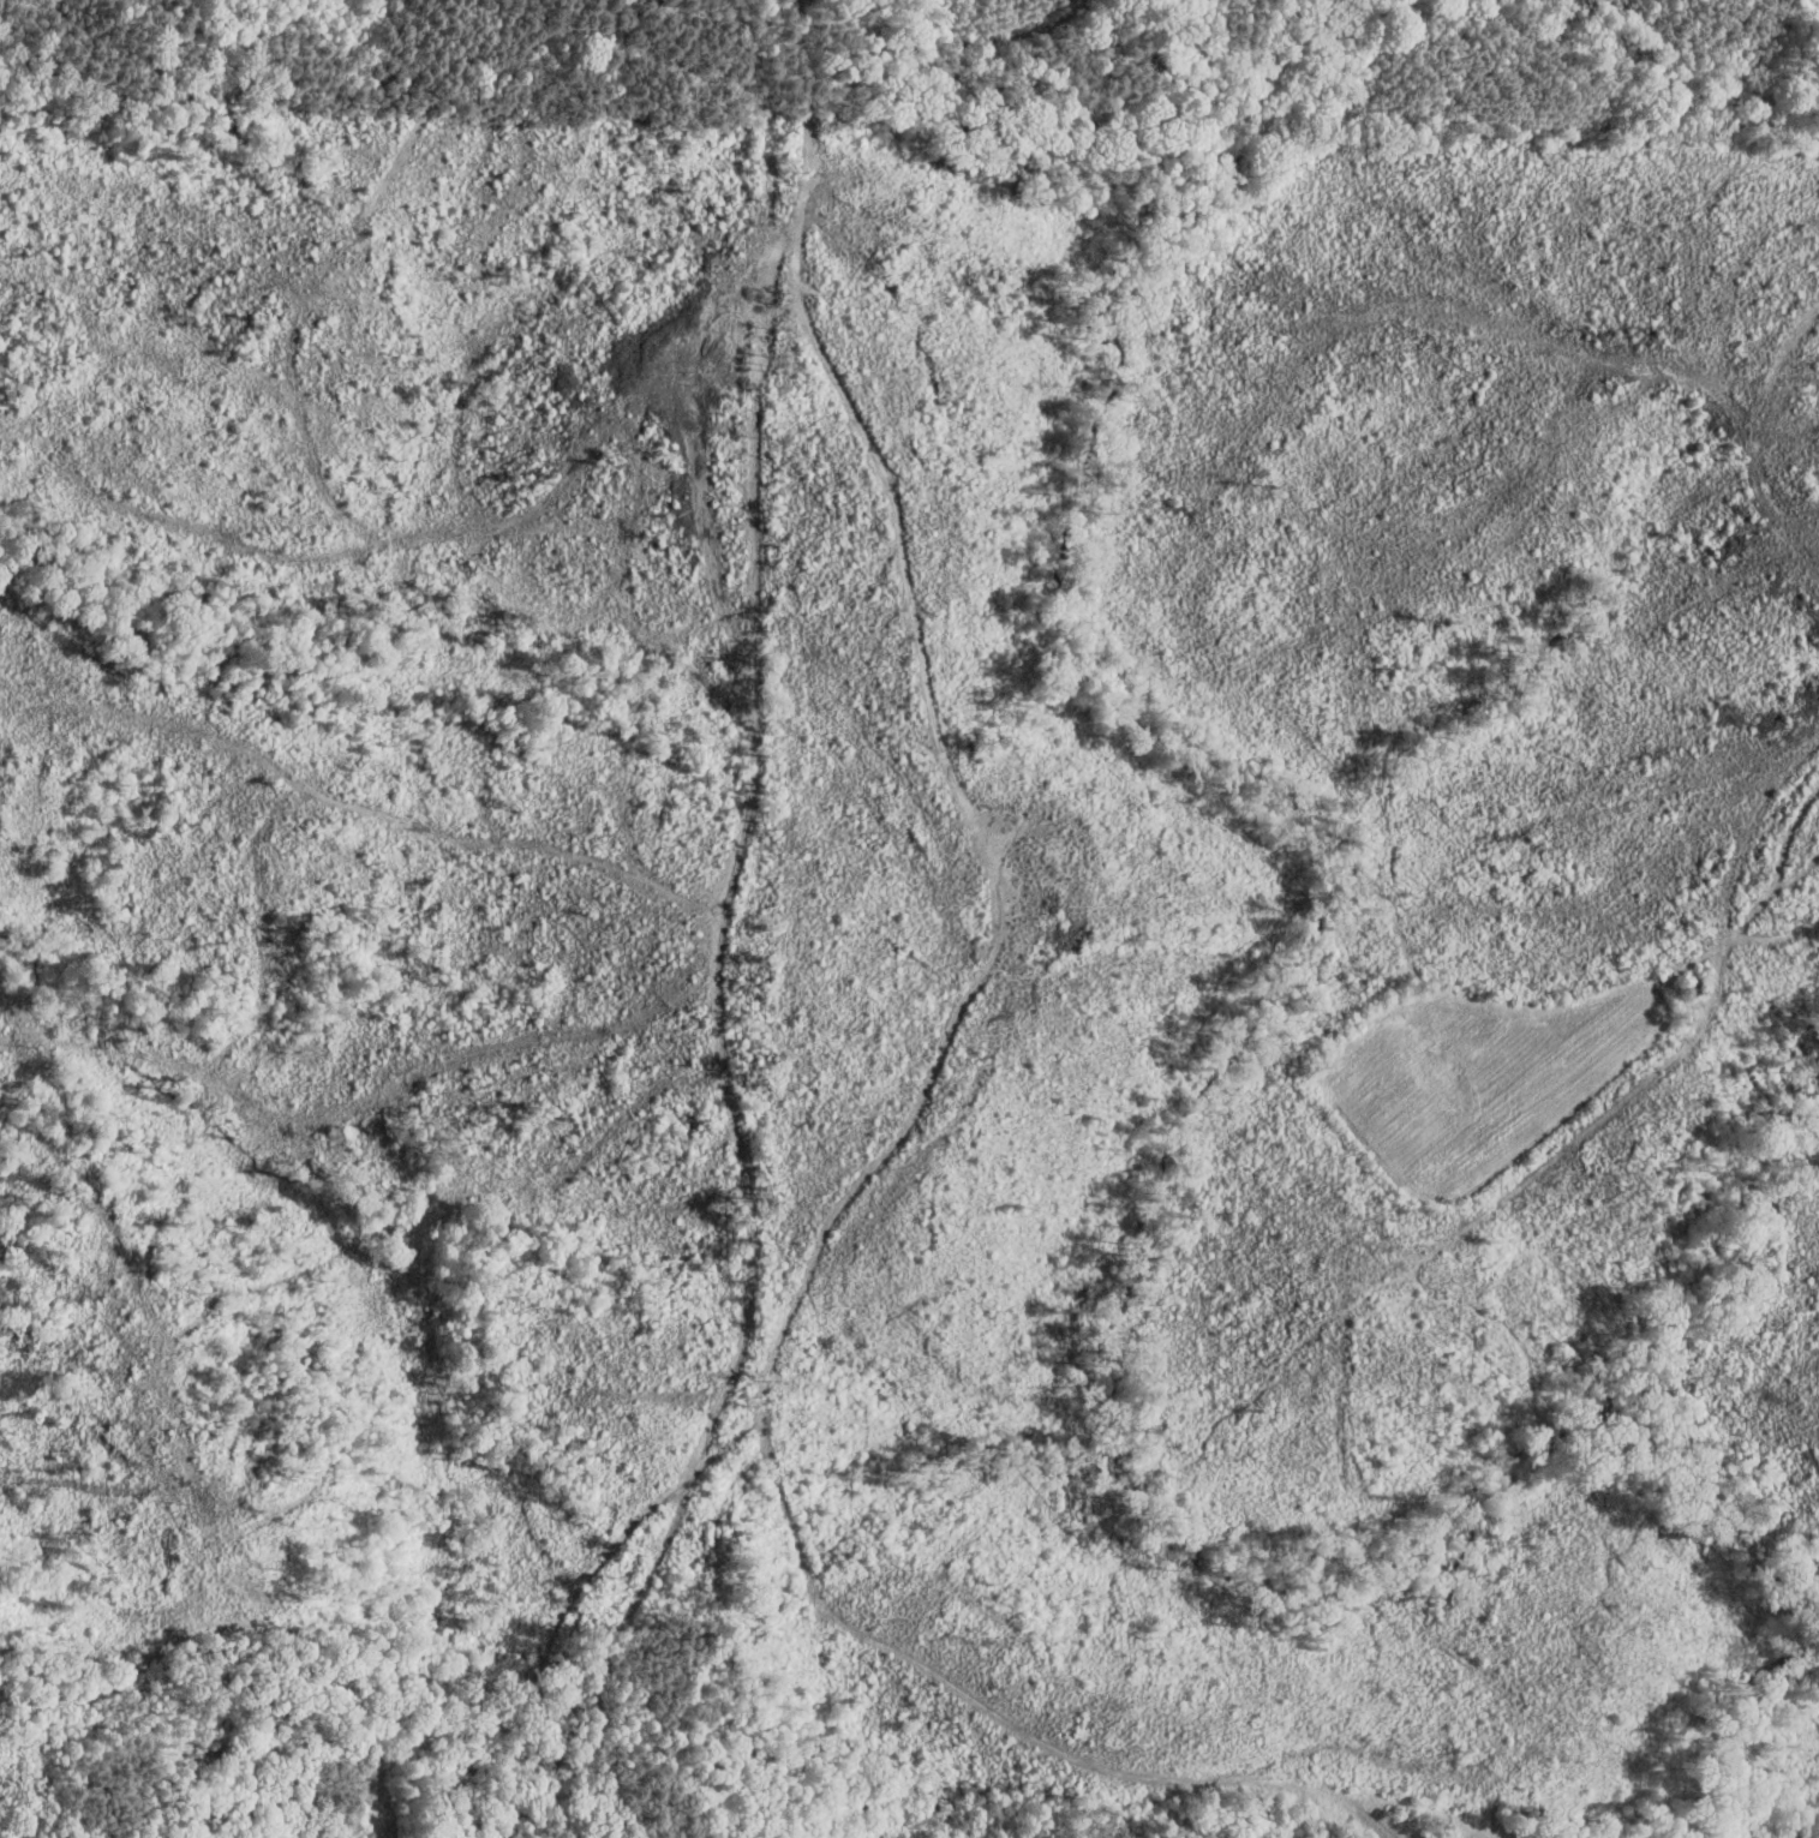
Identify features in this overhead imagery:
road: (806, 110)

